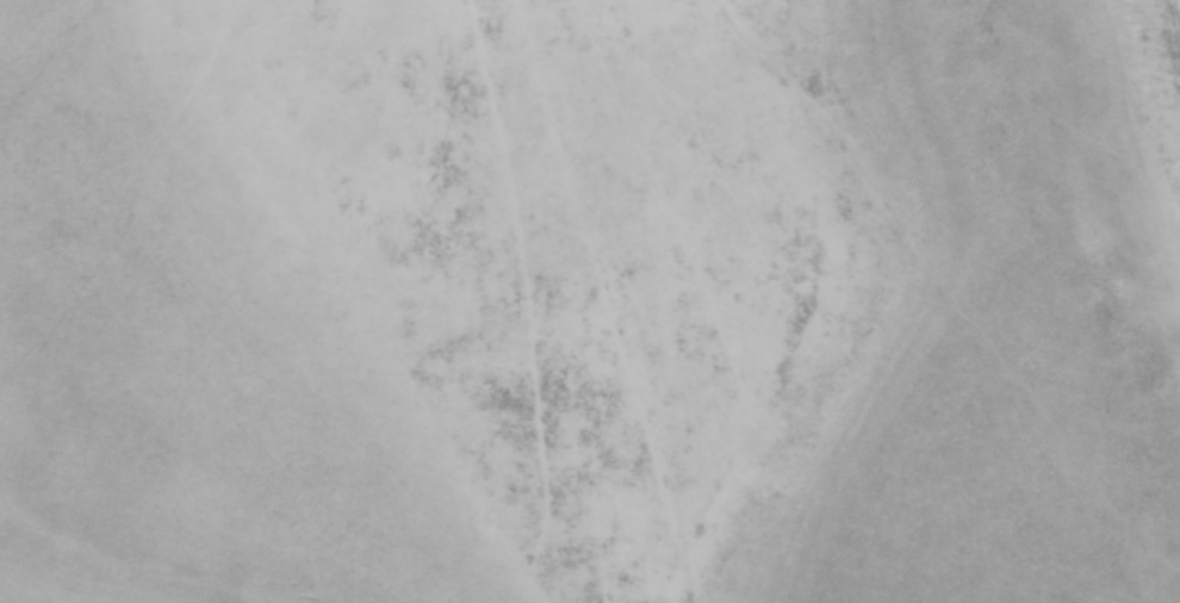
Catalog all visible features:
road: (1165, 68)

